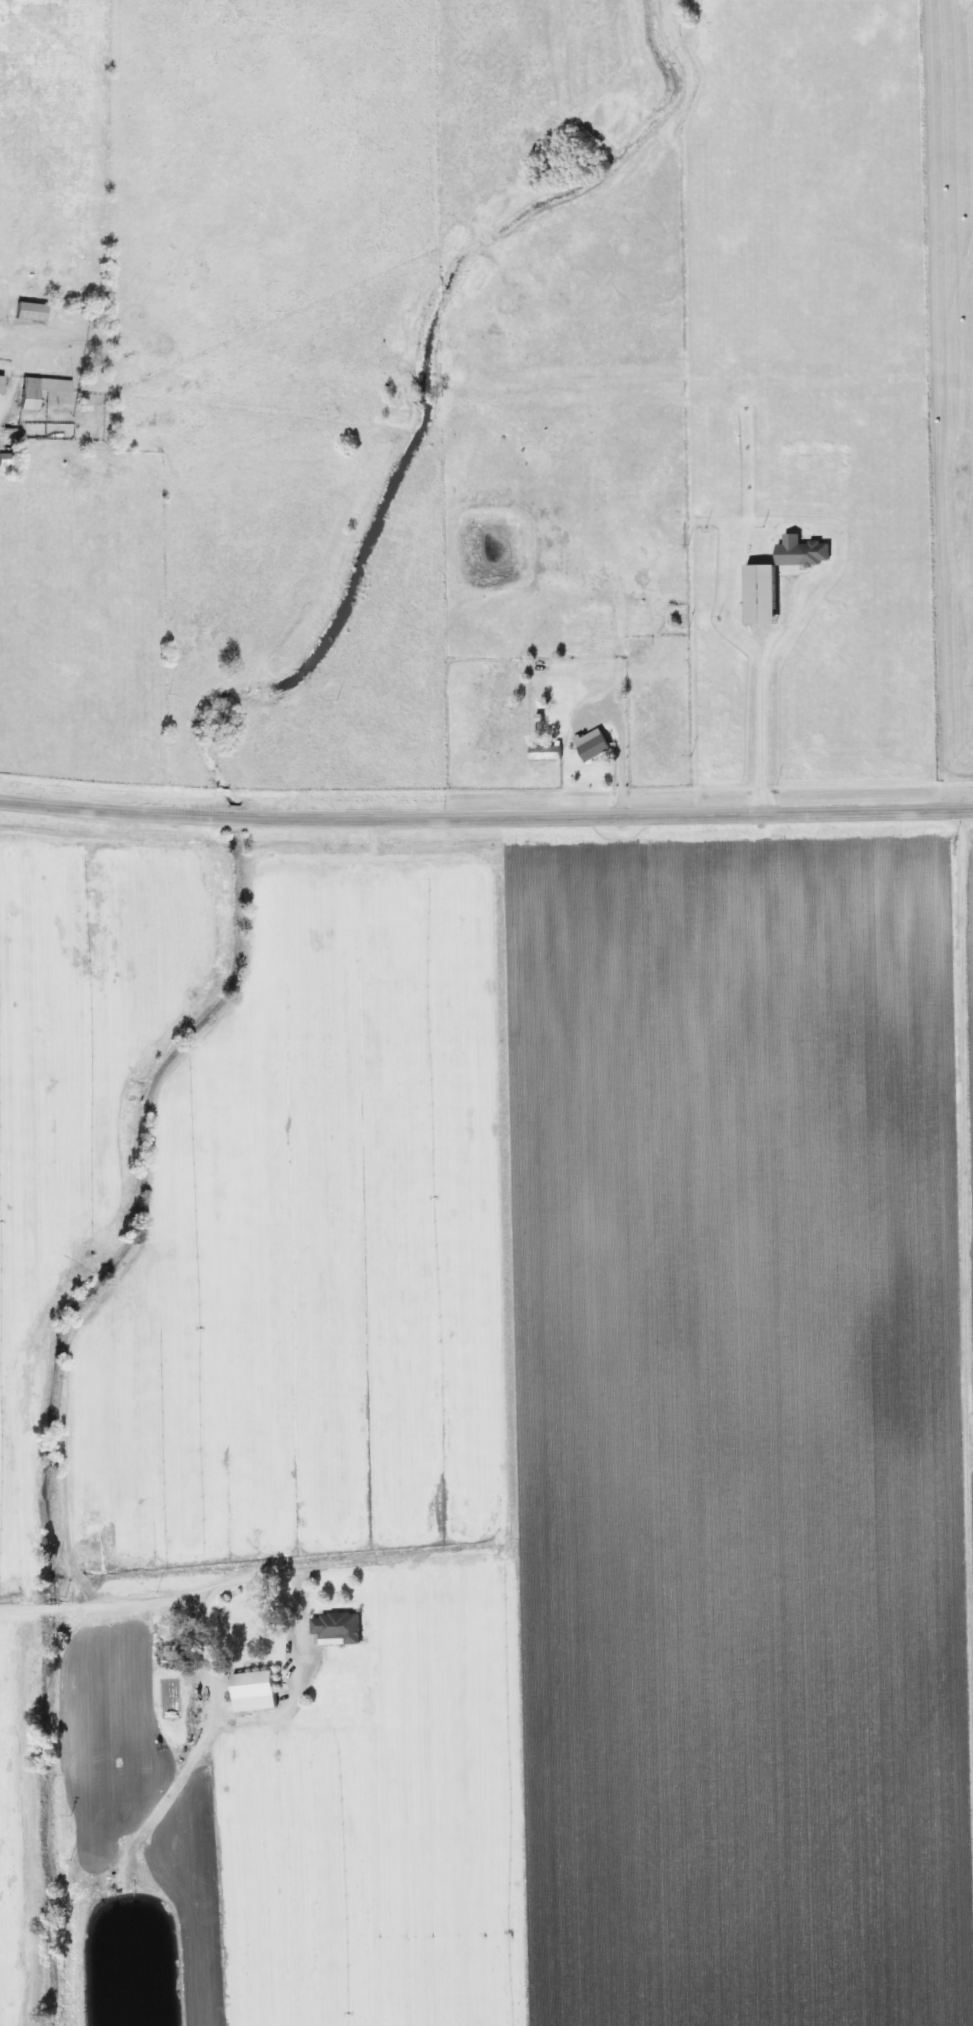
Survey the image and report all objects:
building: (22, 311)
building: (31, 389)
building: (4, 459)
building: (805, 553)
building: (751, 593)
road: (756, 687)
building: (585, 744)
building: (539, 752)
road: (486, 815)
road: (963, 1337)
road: (200, 1588)
building: (329, 1627)
building: (246, 1691)

